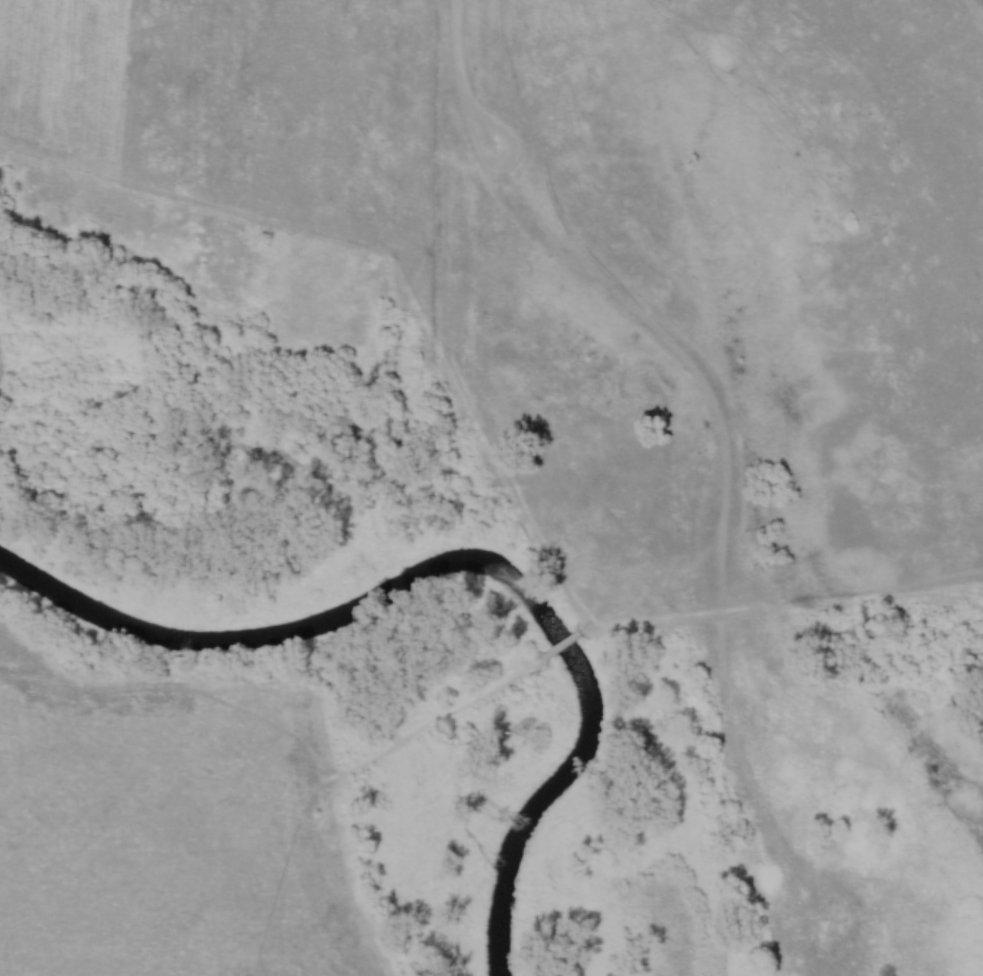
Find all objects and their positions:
road: (458, 72)
road: (676, 347)
river: (464, 564)
road: (783, 604)
road: (569, 641)
road: (364, 771)

